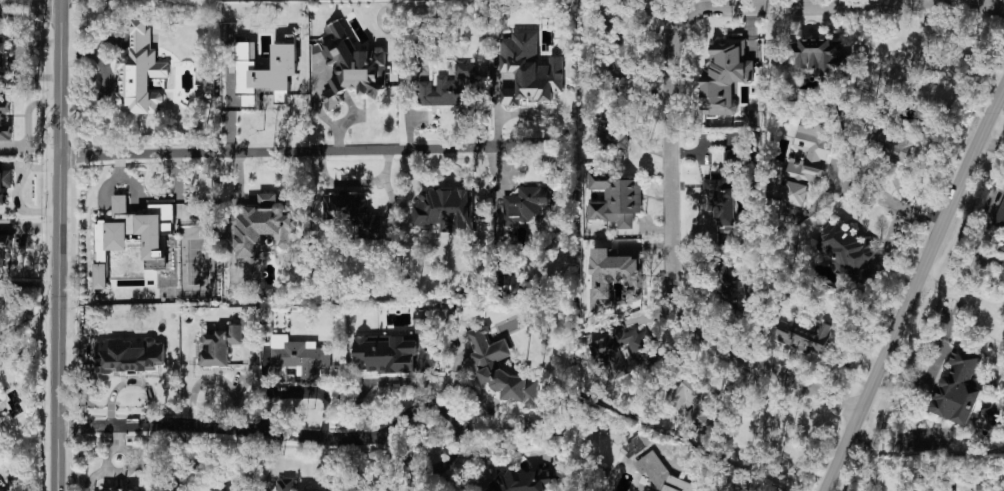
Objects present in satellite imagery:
road: (30, 3)
road: (30, 13)
building: (821, 53)
building: (622, 55)
building: (3, 62)
building: (351, 65)
building: (528, 69)
building: (141, 71)
building: (264, 71)
building: (725, 76)
building: (206, 83)
building: (449, 85)
road: (668, 104)
building: (751, 117)
building: (1, 119)
road: (340, 120)
building: (613, 127)
road: (511, 143)
road: (259, 150)
building: (804, 162)
building: (4, 184)
road: (16, 190)
building: (722, 191)
building: (615, 198)
building: (529, 203)
building: (445, 209)
road: (901, 210)
building: (352, 212)
building: (1000, 215)
building: (266, 224)
building: (135, 231)
building: (3, 245)
road: (61, 245)
building: (1002, 245)
building: (845, 248)
building: (246, 266)
building: (100, 275)
building: (612, 275)
building: (731, 283)
building: (510, 284)
road: (912, 289)
road: (961, 297)
building: (803, 335)
building: (226, 340)
building: (385, 353)
building: (128, 355)
building: (300, 355)
building: (487, 365)
road: (216, 378)
building: (958, 388)
building: (691, 397)
road: (403, 415)
road: (227, 427)
road: (118, 435)
building: (635, 445)
road: (210, 469)
road: (115, 473)
building: (660, 474)
road: (721, 475)
road: (93, 476)
building: (527, 480)
building: (285, 484)
building: (2, 489)
building: (325, 490)

